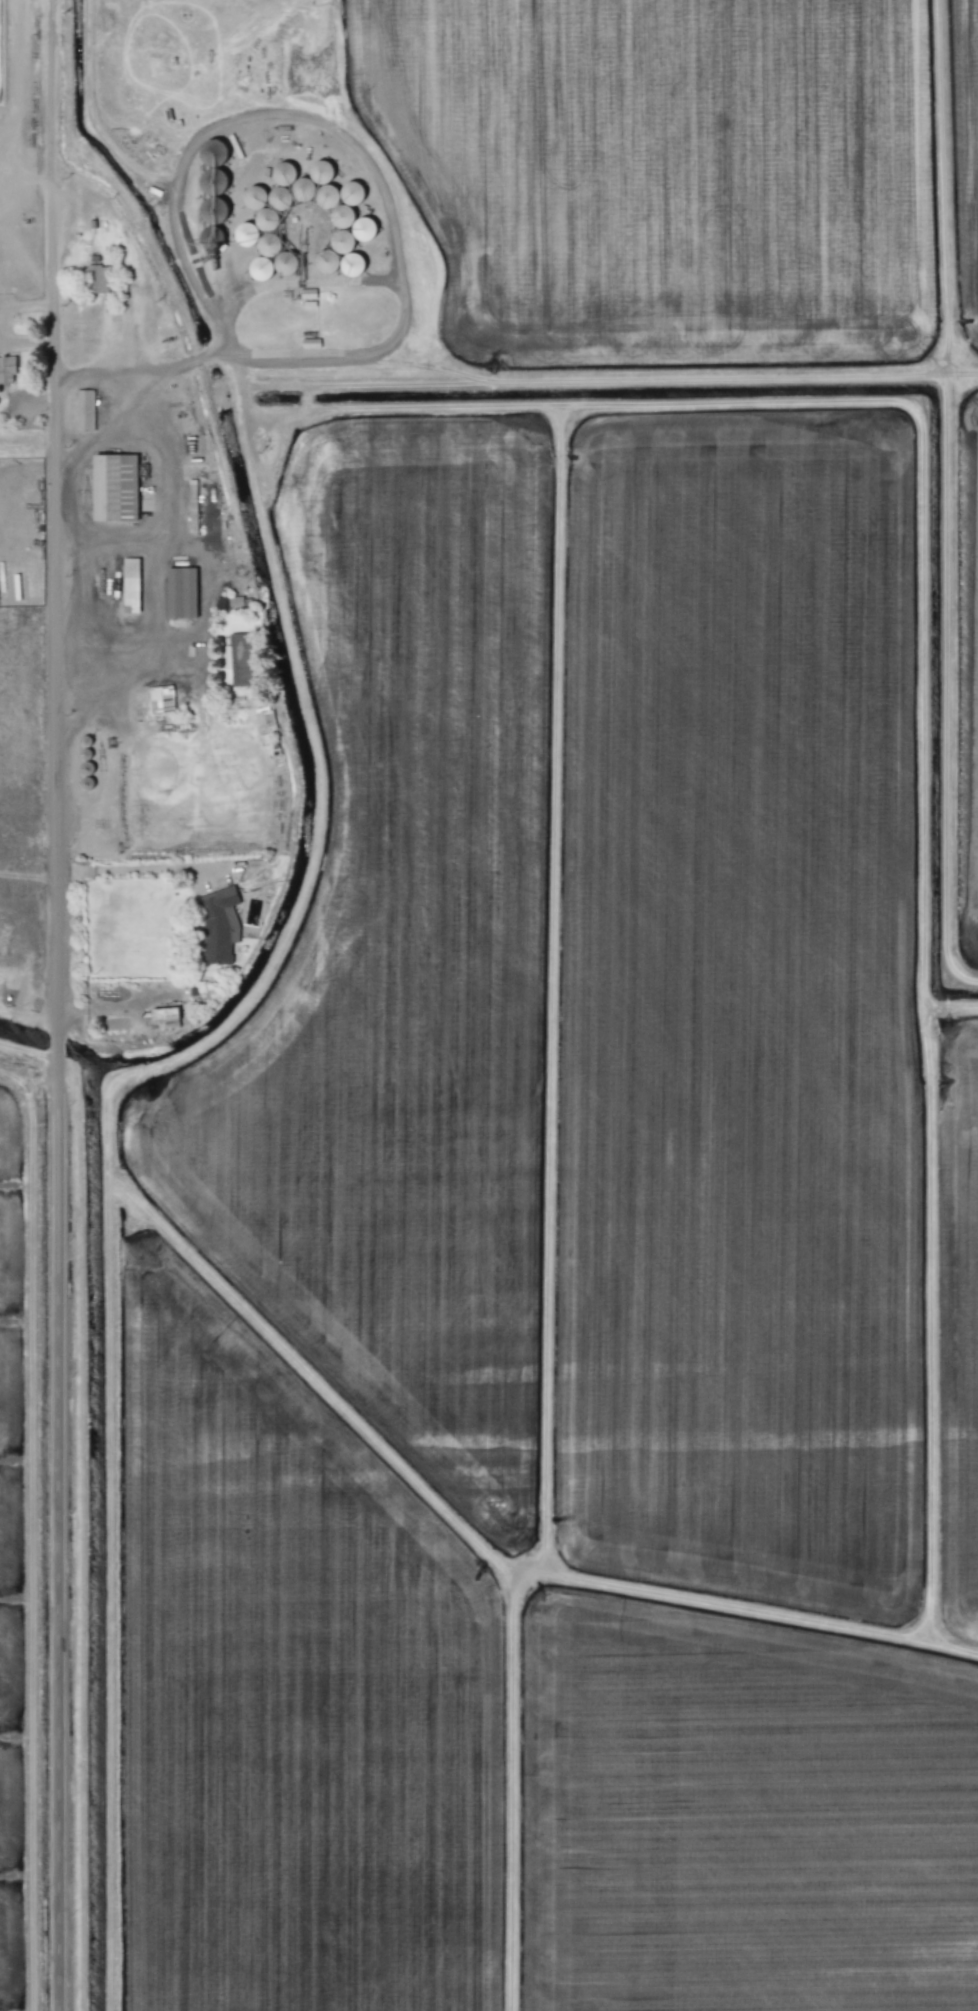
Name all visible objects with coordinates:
road: (343, 135)
road: (50, 156)
road: (25, 178)
building: (267, 222)
building: (365, 227)
building: (96, 278)
building: (7, 368)
road: (138, 369)
building: (84, 409)
road: (106, 430)
building: (114, 487)
building: (192, 501)
road: (165, 511)
building: (130, 585)
building: (181, 592)
road: (203, 595)
building: (233, 601)
road: (52, 608)
road: (143, 658)
building: (238, 659)
building: (159, 699)
building: (264, 721)
road: (136, 869)
building: (218, 924)
building: (165, 1016)
road: (56, 1044)
road: (55, 1085)
road: (55, 1563)

